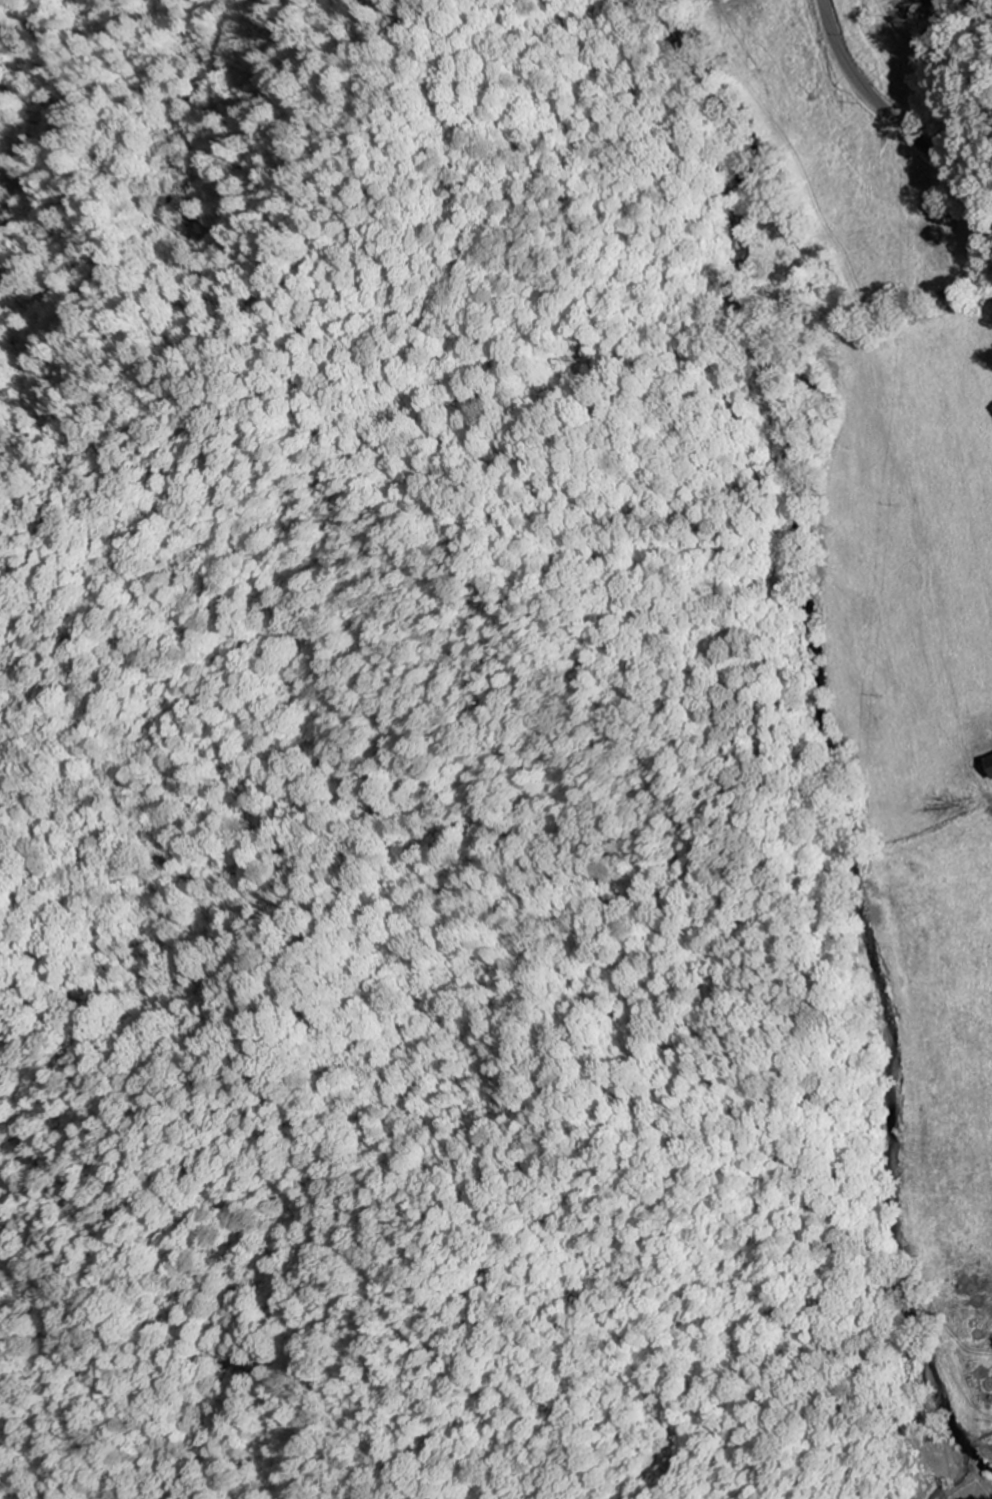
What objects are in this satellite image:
road: (902, 122)

